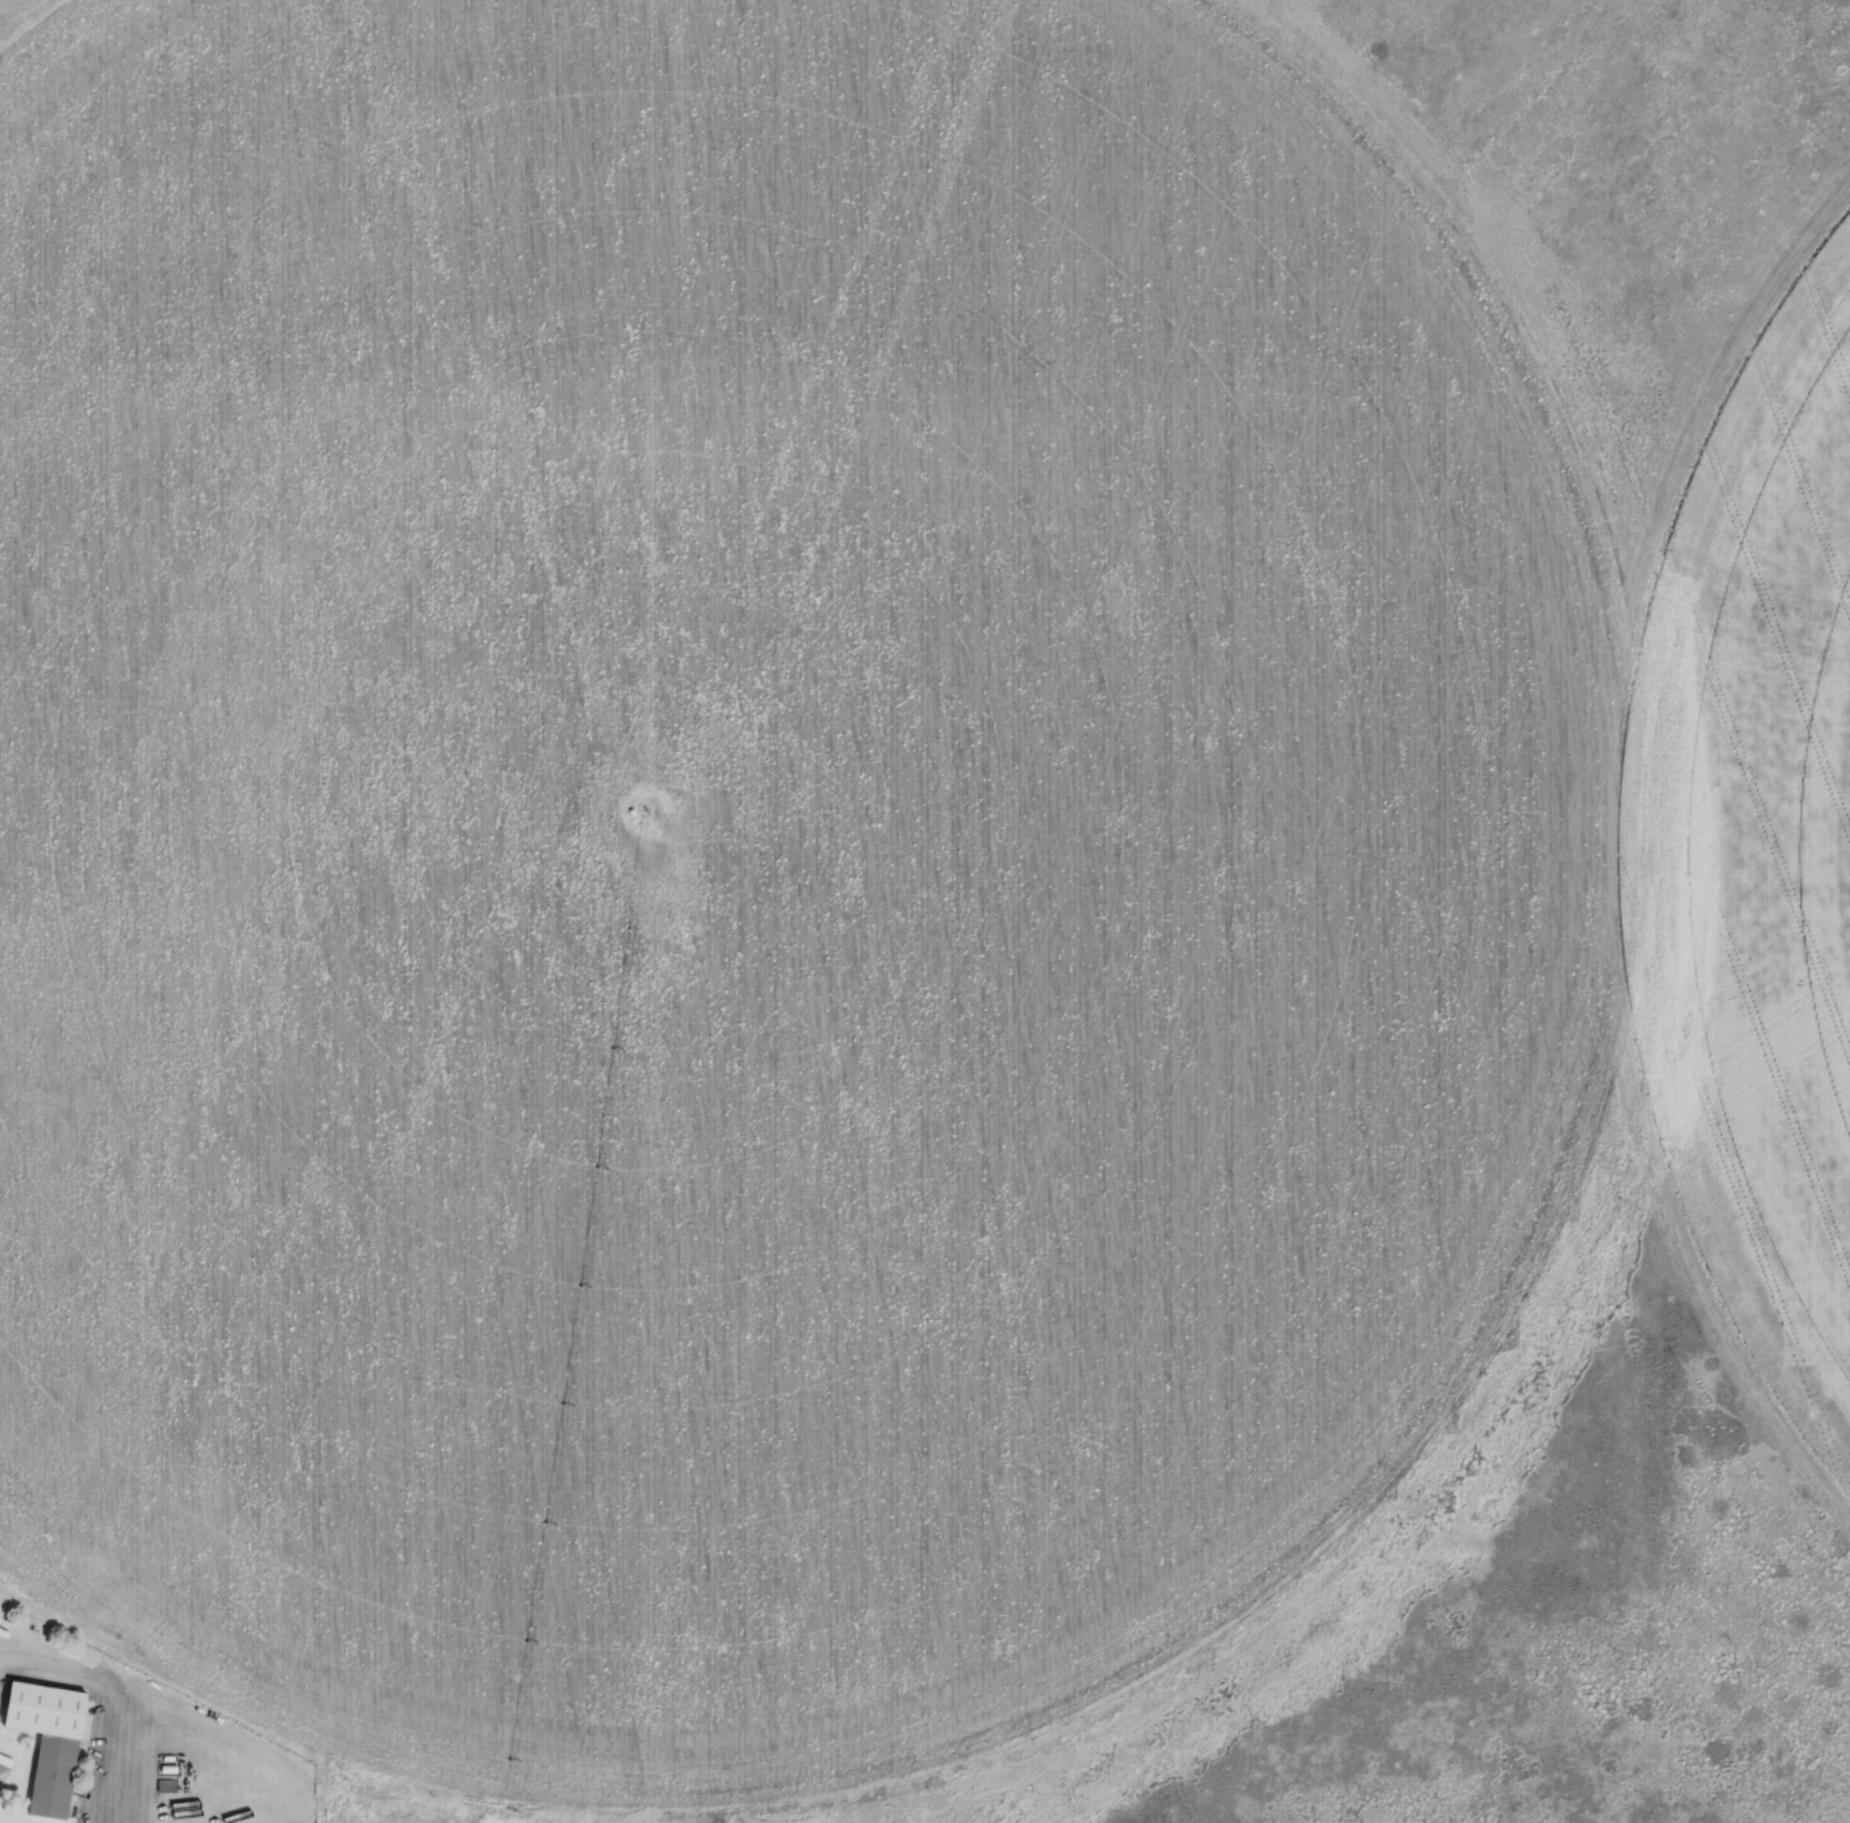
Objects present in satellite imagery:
building: (45, 1740)
building: (4, 1765)

